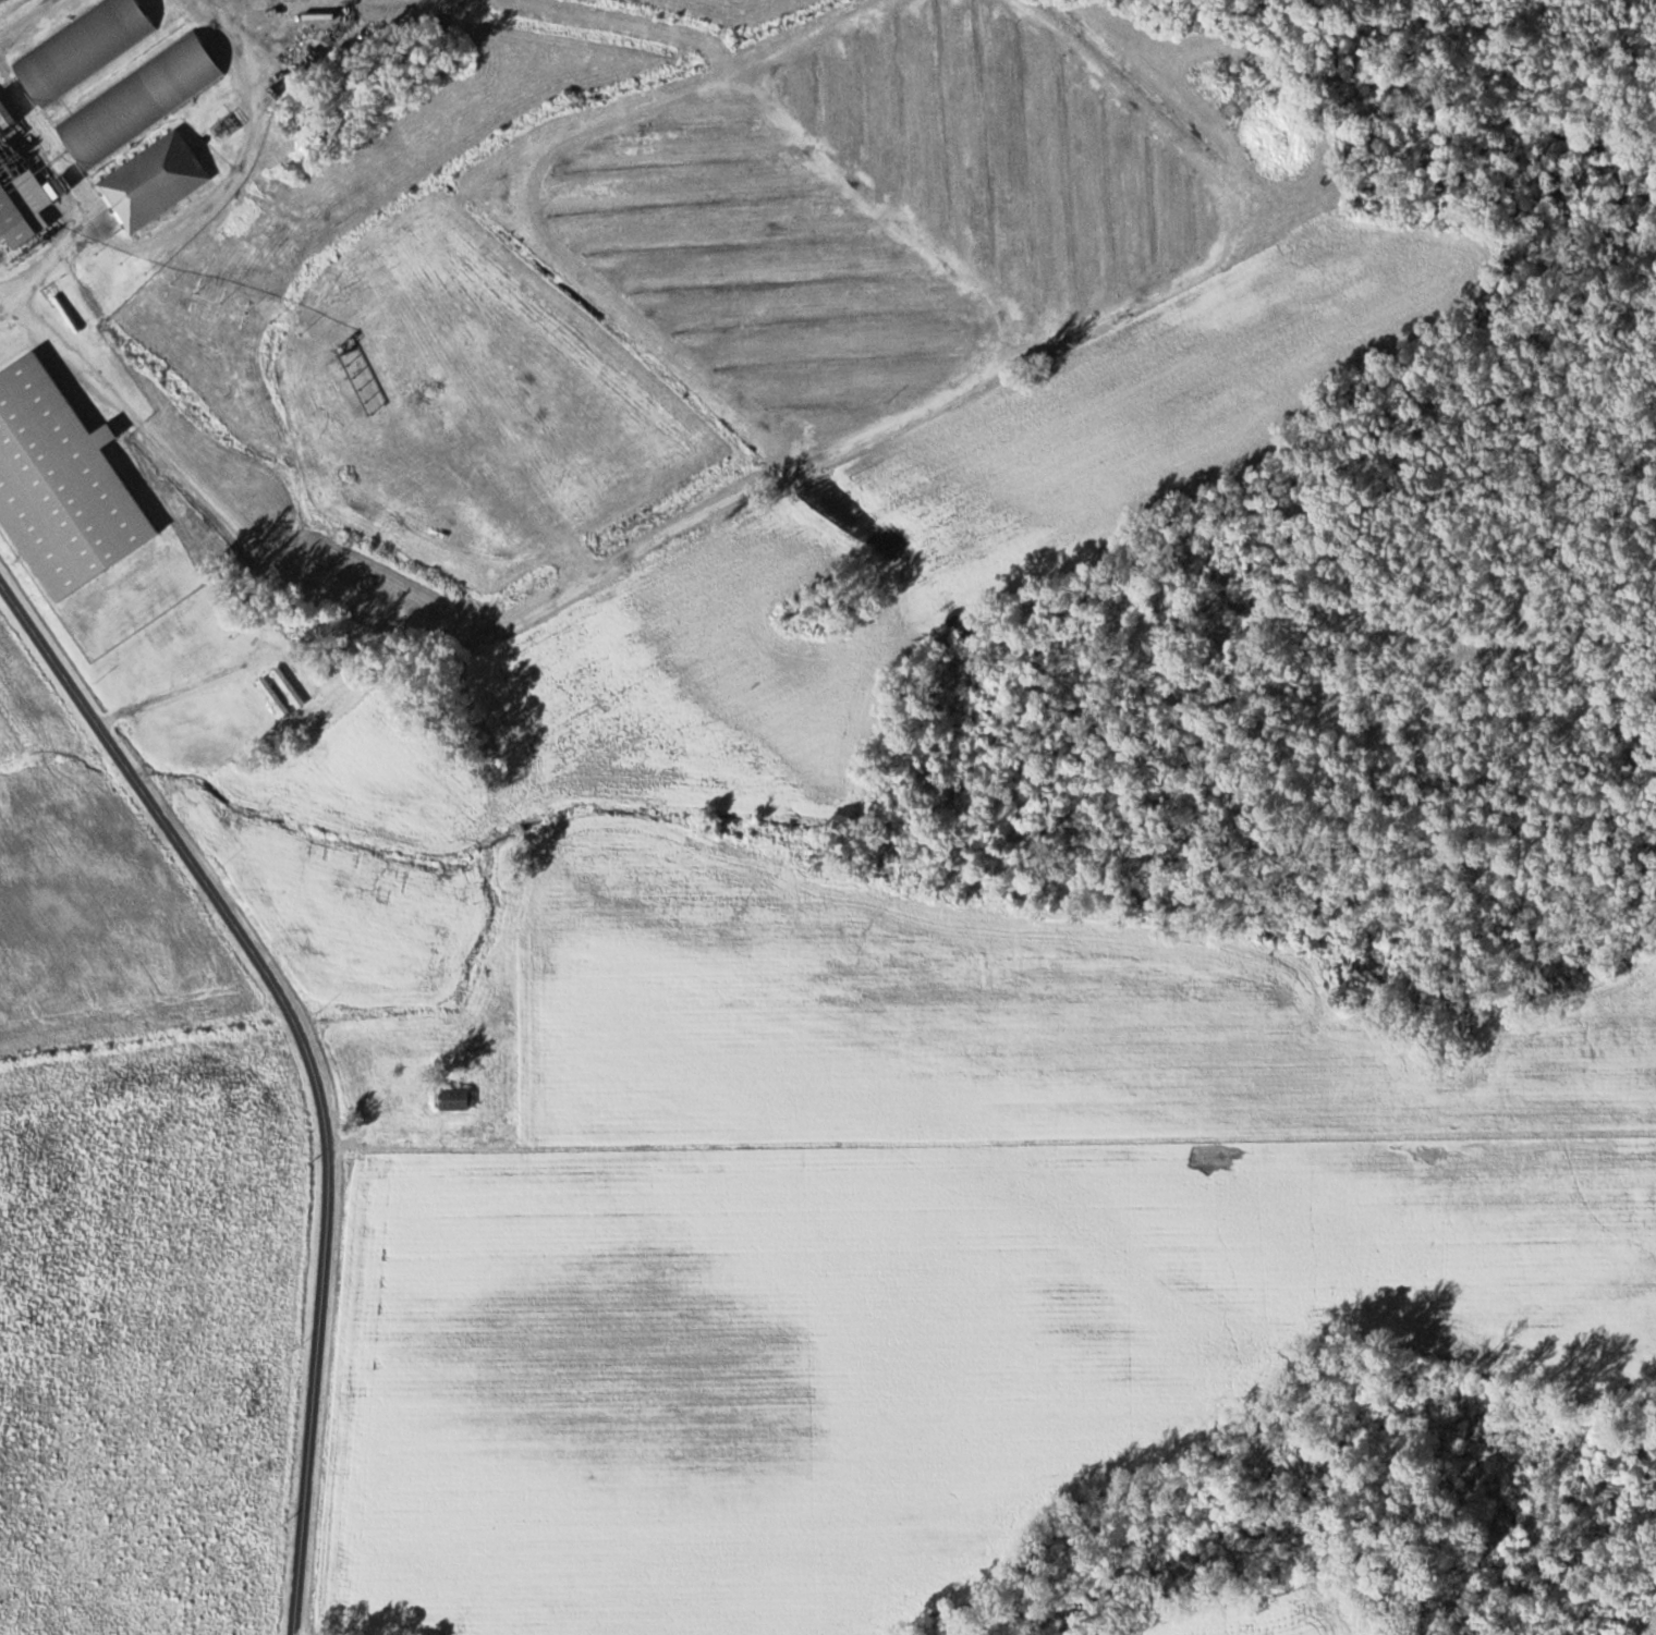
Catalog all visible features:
building: (75, 50)
building: (150, 182)
building: (57, 487)
building: (568, 515)
building: (285, 687)
building: (271, 698)
road: (310, 1064)
building: (451, 1099)

